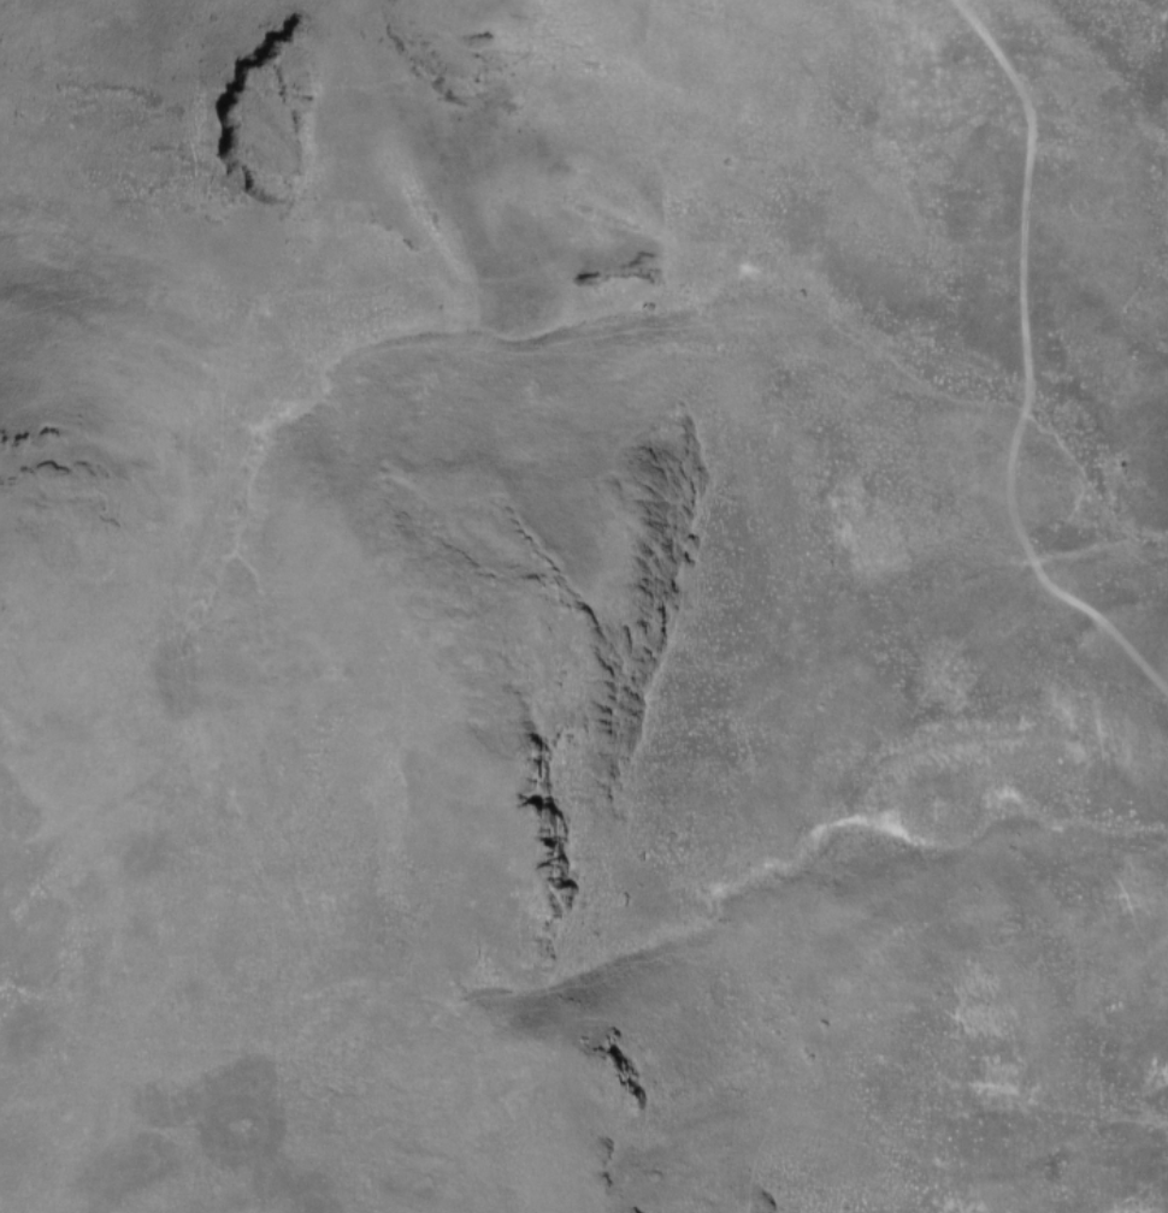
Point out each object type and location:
road: (1028, 367)

